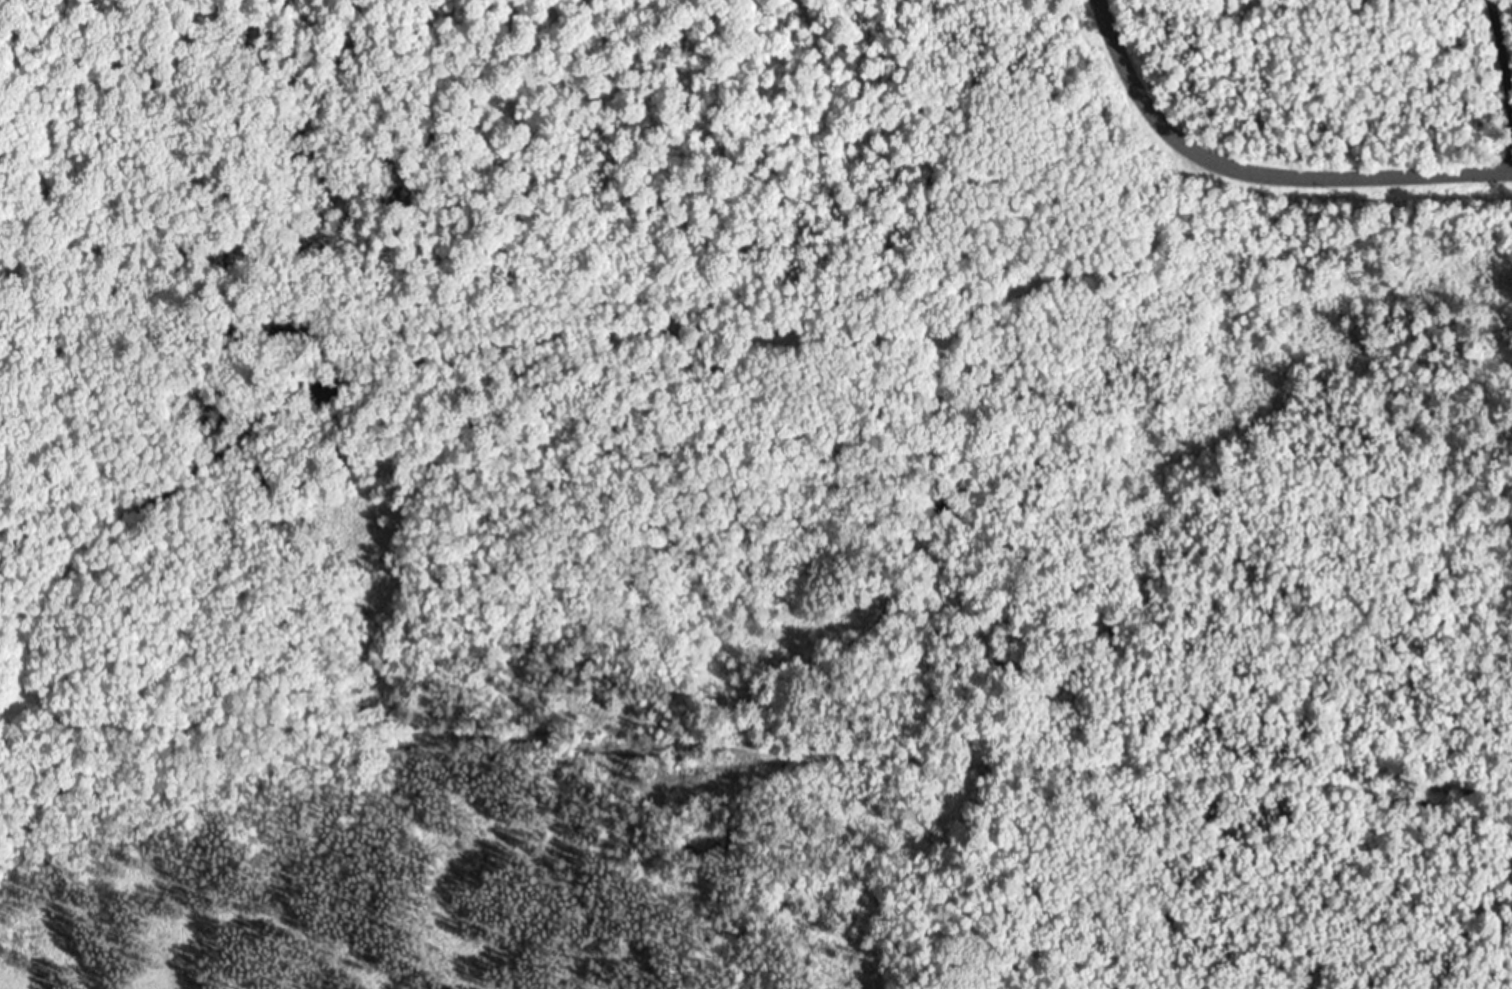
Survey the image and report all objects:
road: (1501, 79)
road: (1259, 165)

